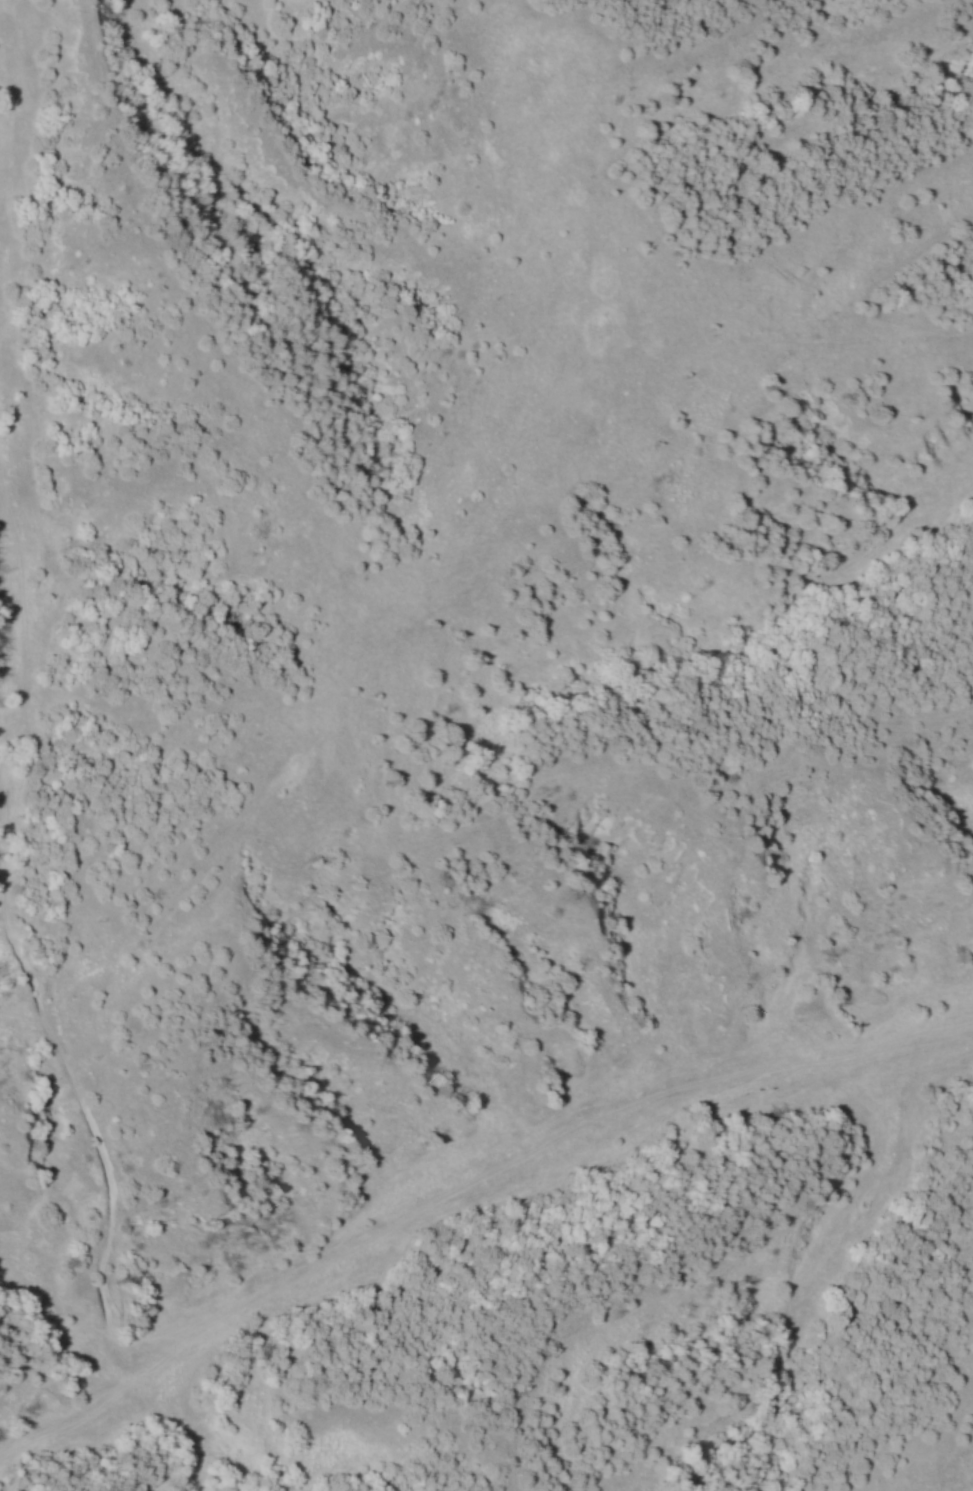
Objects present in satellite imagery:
road: (4, 689)
road: (311, 1266)
road: (116, 1403)

